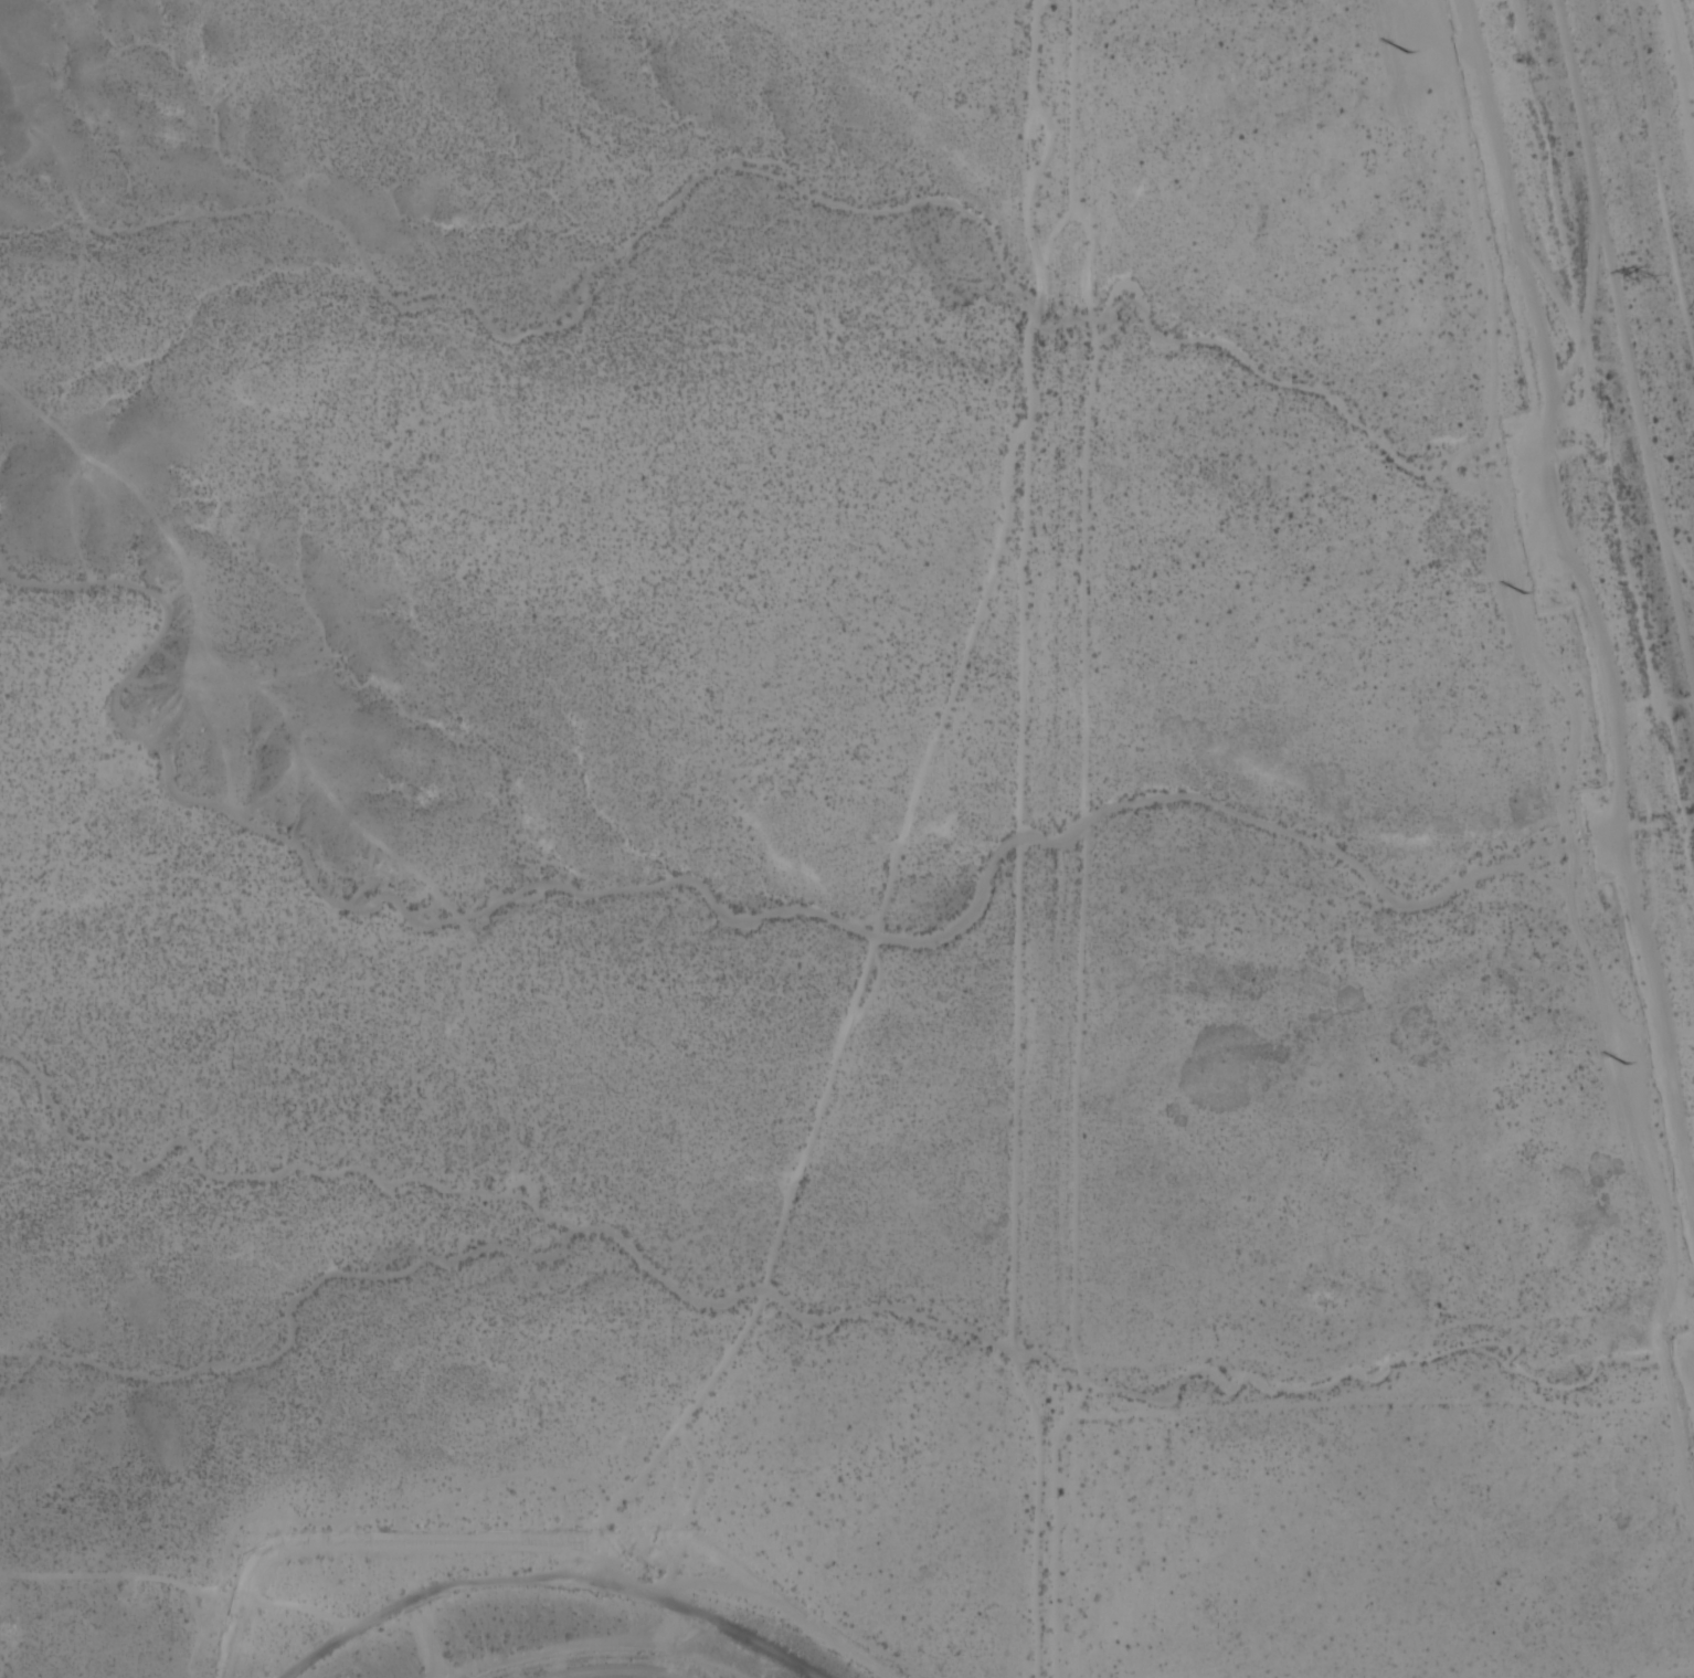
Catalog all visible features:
power tower: (1408, 50)
power tower: (1647, 281)
power tower: (1524, 592)
power tower: (1624, 1058)

